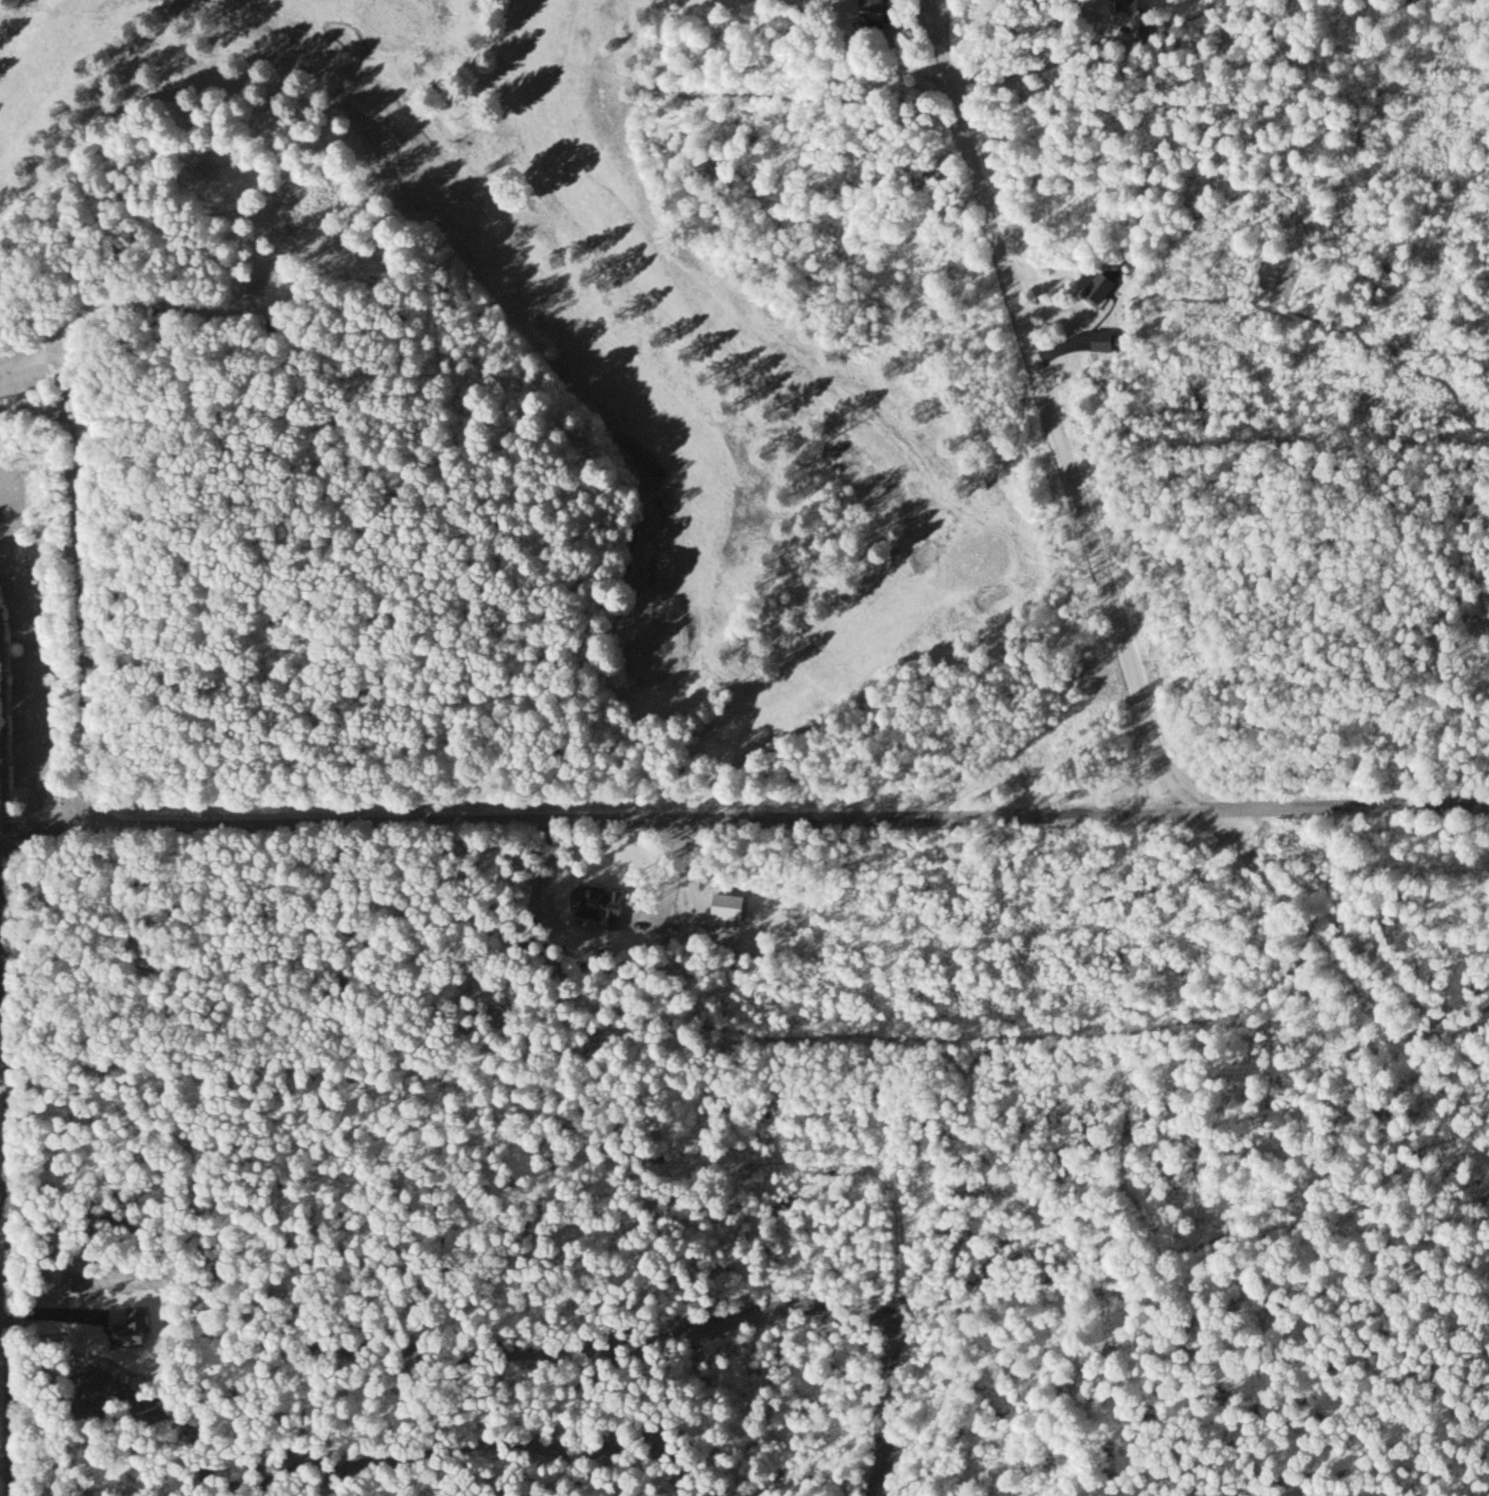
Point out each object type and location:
building: (867, 4)
building: (1125, 4)
building: (1102, 282)
building: (1099, 340)
park: (548, 344)
road: (1051, 410)
road: (3, 505)
road: (3, 518)
road: (38, 670)
road: (770, 818)
road: (1355, 994)
road: (5, 1144)
building: (146, 1329)
park: (109, 1490)

